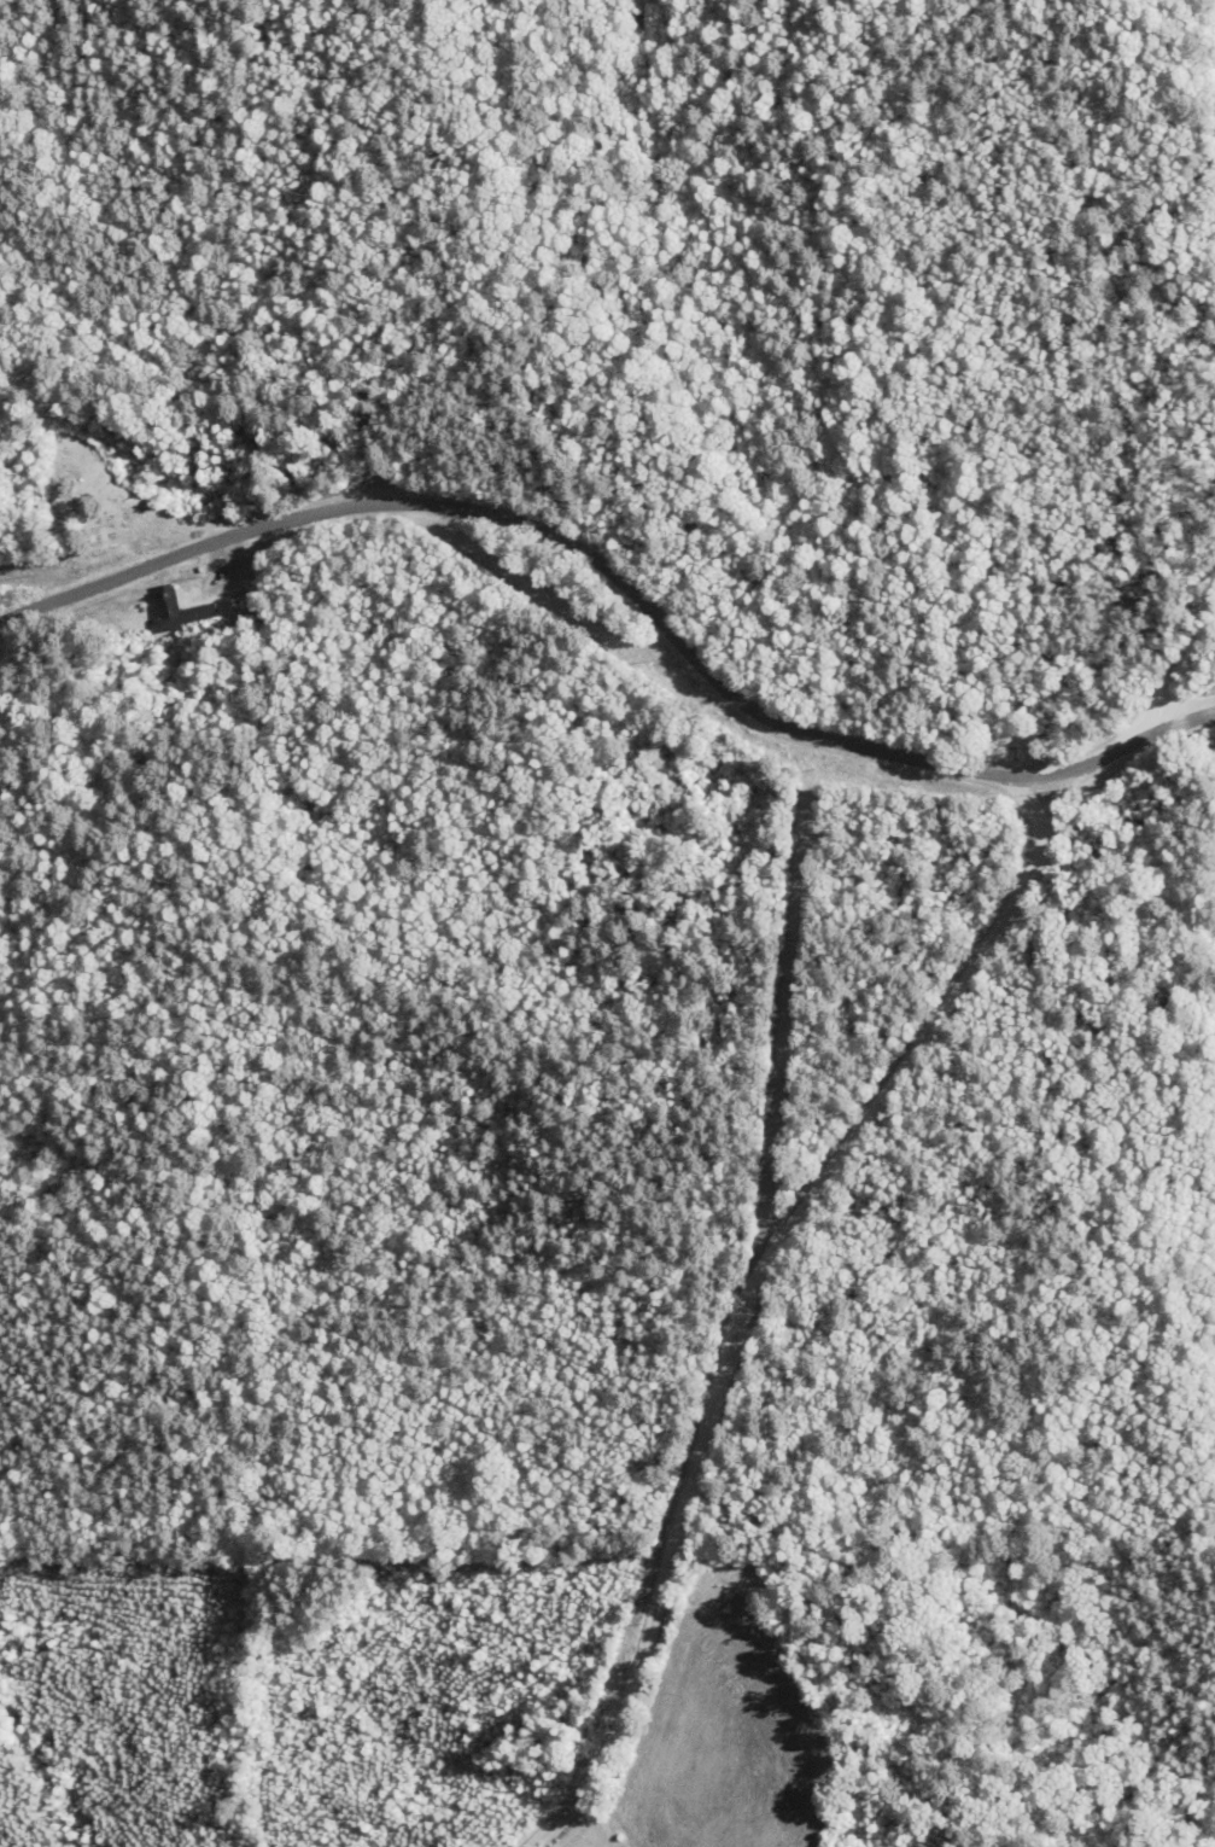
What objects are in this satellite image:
road: (633, 559)
building: (185, 610)
road: (1173, 709)
road: (800, 1288)
road: (655, 1801)

